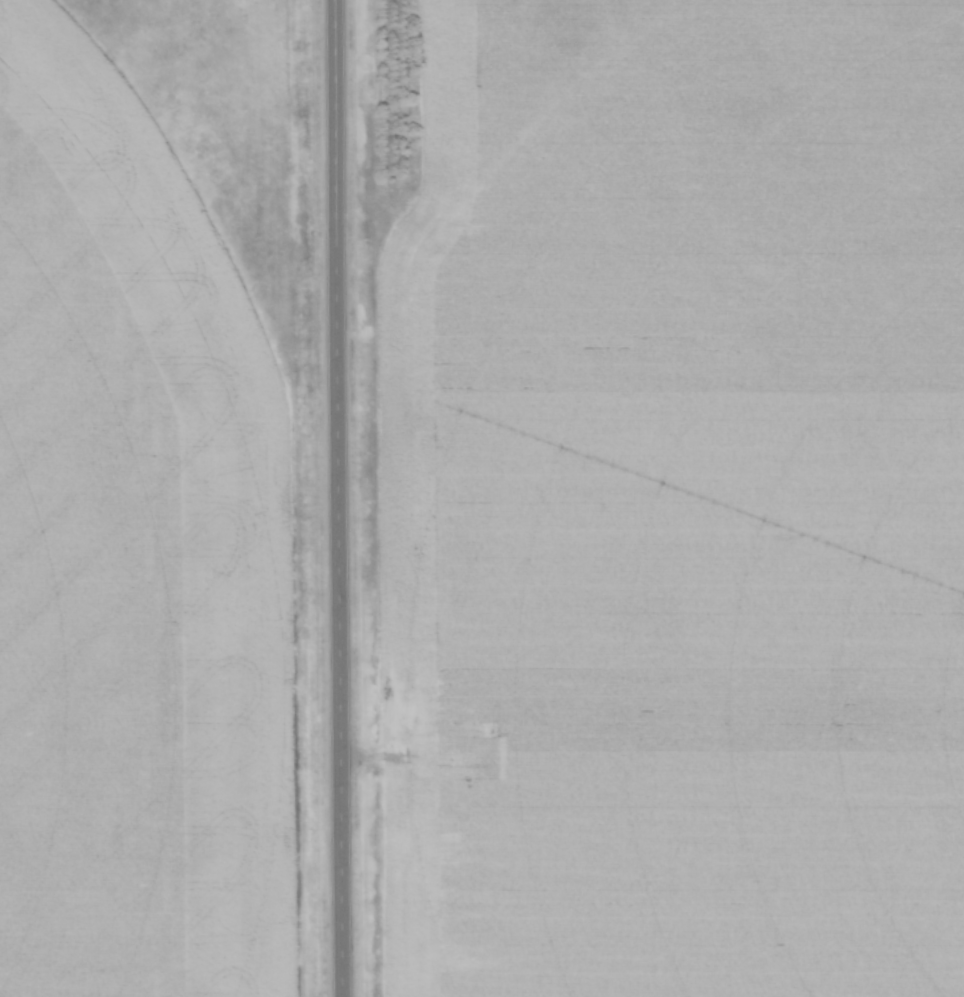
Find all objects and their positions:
road: (338, 498)

